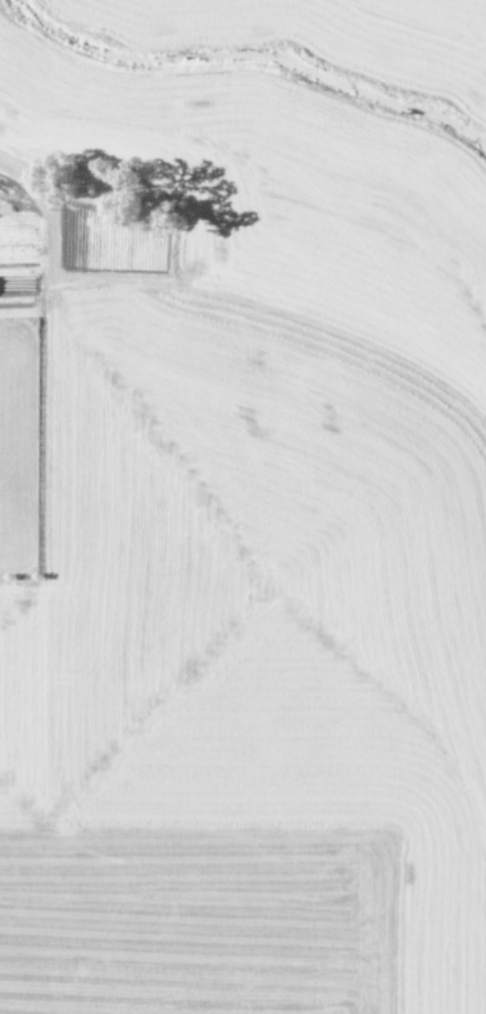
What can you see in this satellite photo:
crop: (243, 507)

